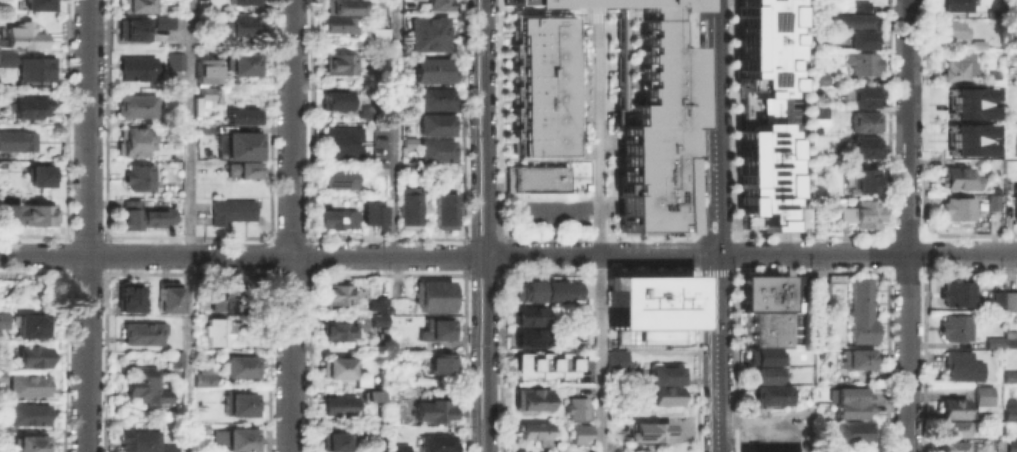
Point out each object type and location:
building: (240, 1)
building: (38, 3)
building: (977, 3)
building: (433, 4)
building: (135, 5)
building: (951, 5)
building: (858, 6)
building: (994, 12)
building: (342, 15)
building: (163, 18)
building: (1011, 18)
building: (852, 20)
building: (239, 24)
building: (133, 27)
building: (951, 30)
building: (381, 32)
building: (430, 32)
building: (22, 34)
building: (205, 38)
building: (862, 39)
building: (978, 45)
building: (5, 56)
building: (175, 59)
building: (238, 60)
building: (340, 60)
building: (861, 63)
building: (137, 65)
building: (33, 67)
building: (959, 68)
building: (205, 70)
building: (432, 70)
building: (5, 72)
building: (818, 77)
building: (378, 80)
building: (543, 87)
building: (206, 89)
building: (171, 93)
building: (968, 94)
building: (437, 98)
building: (866, 98)
building: (335, 100)
road: (796, 101)
building: (136, 103)
building: (29, 106)
road: (714, 109)
building: (818, 109)
building: (969, 110)
building: (365, 111)
road: (599, 113)
building: (243, 114)
building: (410, 114)
building: (650, 116)
road: (732, 116)
road: (463, 118)
road: (499, 118)
building: (762, 119)
building: (866, 122)
building: (437, 124)
road: (395, 128)
building: (969, 130)
building: (132, 138)
building: (16, 139)
building: (342, 141)
building: (410, 141)
building: (241, 143)
building: (968, 146)
building: (1015, 147)
building: (863, 148)
building: (436, 150)
building: (242, 166)
building: (378, 166)
building: (411, 168)
building: (39, 174)
building: (138, 174)
building: (339, 177)
building: (956, 178)
building: (540, 183)
building: (865, 183)
building: (991, 201)
building: (1014, 202)
road: (581, 206)
building: (409, 207)
building: (446, 208)
building: (231, 209)
building: (957, 209)
building: (374, 210)
building: (142, 213)
road: (696, 213)
building: (7, 214)
building: (36, 214)
building: (862, 214)
road: (797, 216)
building: (339, 219)
road: (86, 225)
road: (189, 225)
road: (487, 225)
road: (907, 225)
road: (292, 226)
road: (714, 231)
road: (693, 232)
road: (735, 233)
road: (715, 235)
road: (463, 237)
road: (481, 237)
road: (500, 237)
road: (798, 241)
road: (693, 251)
road: (735, 252)
road: (866, 252)
road: (501, 253)
road: (463, 255)
road: (358, 256)
road: (715, 271)
road: (736, 271)
road: (501, 272)
road: (597, 272)
road: (694, 272)
road: (463, 274)
road: (482, 274)
building: (763, 281)
building: (559, 290)
building: (232, 291)
building: (528, 291)
building: (337, 293)
building: (957, 294)
building: (434, 295)
building: (126, 296)
building: (168, 296)
building: (763, 296)
building: (218, 299)
building: (1004, 301)
building: (381, 304)
building: (763, 306)
building: (861, 309)
building: (657, 310)
building: (528, 316)
building: (3, 320)
building: (378, 320)
building: (30, 326)
building: (769, 327)
building: (954, 328)
building: (436, 329)
building: (216, 331)
building: (337, 331)
building: (140, 333)
building: (529, 338)
building: (1000, 342)
road: (601, 352)
road: (716, 352)
building: (32, 354)
building: (762, 355)
building: (615, 358)
building: (174, 359)
building: (857, 359)
building: (440, 363)
road: (463, 363)
building: (240, 366)
building: (961, 366)
building: (543, 367)
building: (338, 368)
building: (1, 373)
building: (763, 373)
building: (665, 374)
building: (1010, 377)
building: (204, 379)
building: (363, 381)
building: (26, 384)
building: (143, 388)
building: (378, 393)
building: (770, 393)
building: (663, 394)
building: (531, 398)
building: (981, 398)
building: (238, 401)
building: (338, 403)
building: (851, 403)
building: (577, 408)
building: (433, 410)
building: (24, 414)
building: (1010, 414)
building: (953, 418)
building: (200, 428)
building: (533, 431)
building: (649, 431)
building: (852, 432)
building: (580, 433)
building: (138, 440)
building: (234, 440)
building: (337, 441)
building: (369, 442)
building: (437, 443)
building: (30, 444)
building: (1011, 446)
building: (168, 447)
building: (398, 447)
building: (952, 447)

